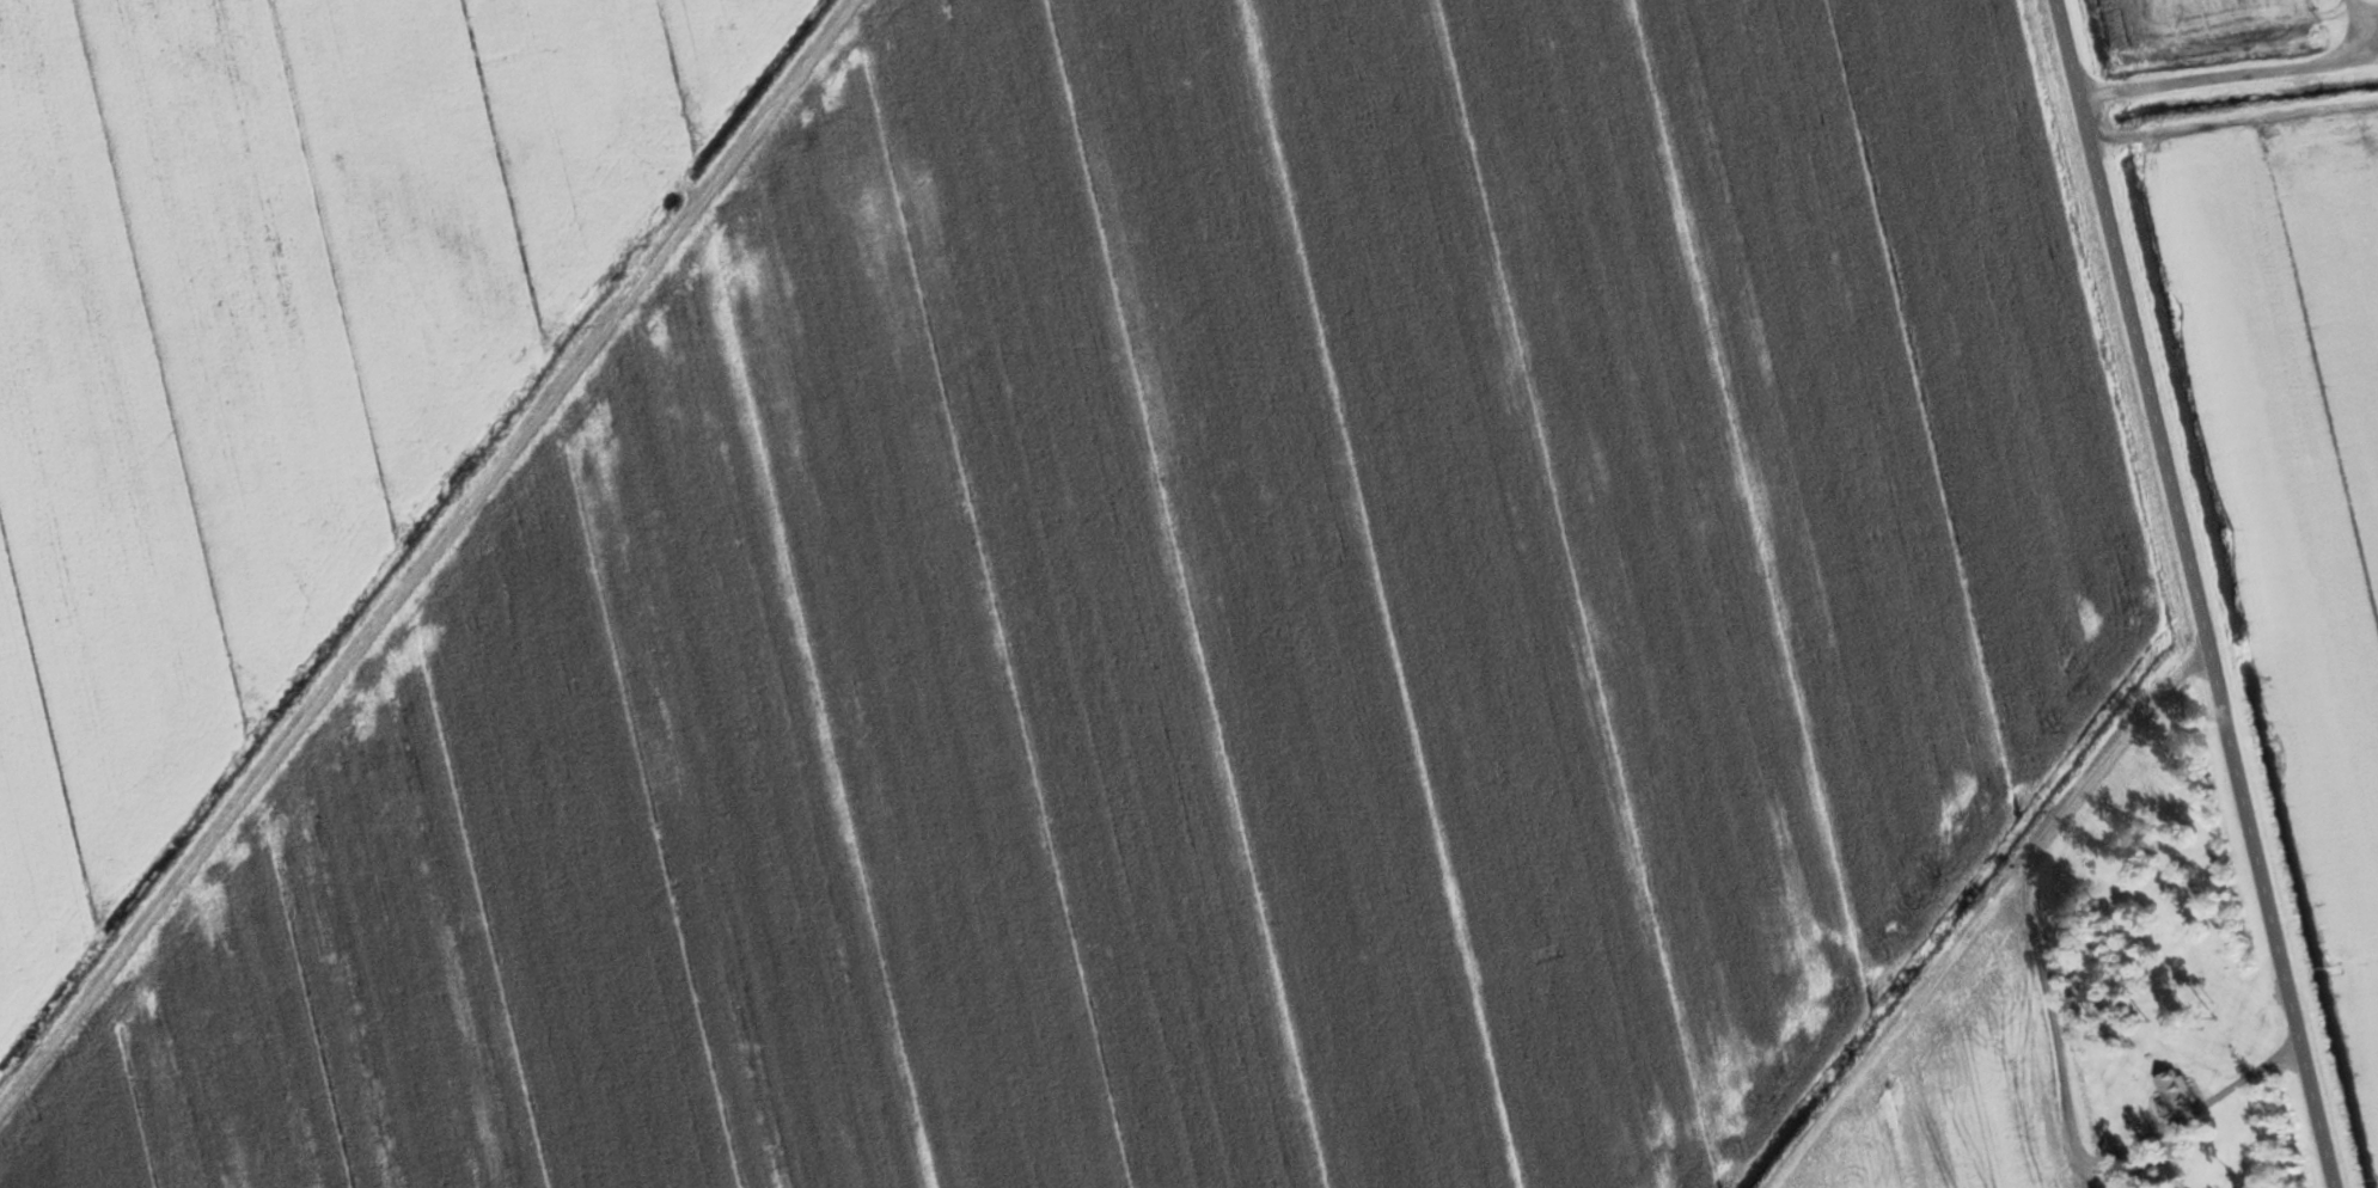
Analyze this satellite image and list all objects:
road: (2348, 19)
road: (2364, 19)
road: (2221, 60)
road: (2226, 105)
crop: (269, 350)
road: (423, 553)
road: (2187, 594)
crop: (1197, 631)
road: (2049, 999)
road: (1894, 1018)
crop: (1954, 1088)
building: (2175, 1092)

